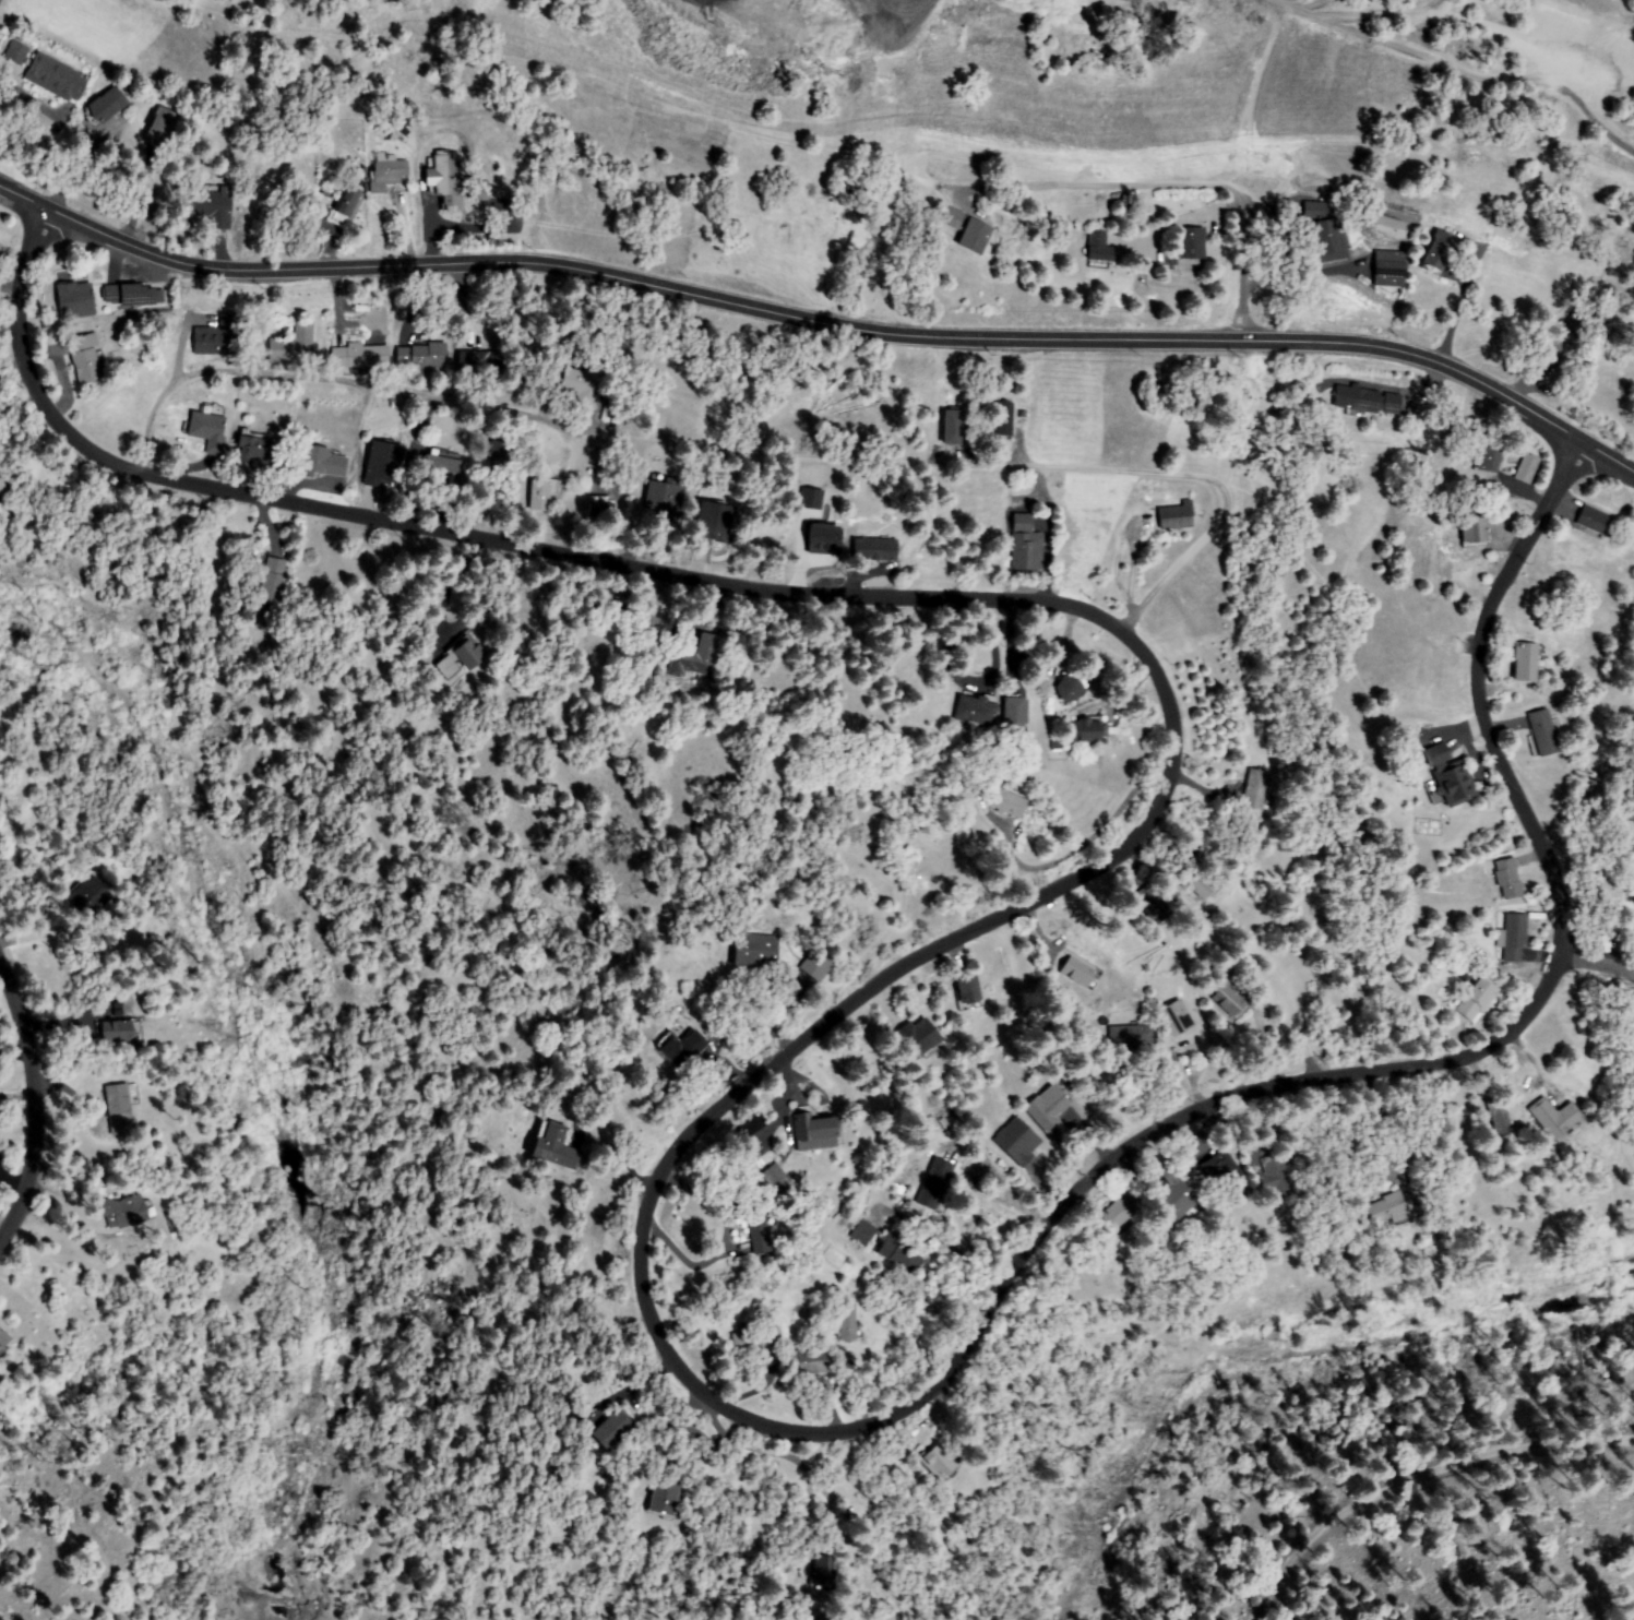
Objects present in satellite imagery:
road: (1279, 4)
road: (1292, 4)
building: (17, 52)
building: (57, 78)
road: (1250, 100)
building: (106, 107)
building: (163, 128)
building: (386, 171)
building: (452, 181)
building: (348, 201)
building: (214, 207)
building: (1313, 209)
building: (952, 217)
building: (974, 236)
building: (1323, 240)
building: (1190, 243)
building: (1099, 247)
building: (1439, 253)
building: (1387, 267)
building: (131, 295)
building: (76, 300)
road: (821, 324)
building: (1578, 324)
building: (218, 336)
building: (295, 345)
building: (357, 356)
building: (419, 356)
building: (85, 360)
building: (481, 362)
building: (583, 385)
building: (1367, 400)
building: (1023, 414)
building: (1005, 417)
building: (954, 427)
building: (208, 430)
building: (261, 451)
building: (500, 452)
building: (1490, 454)
building: (324, 462)
building: (384, 463)
building: (1526, 467)
building: (1512, 468)
building: (443, 470)
building: (5, 484)
building: (541, 495)
building: (664, 500)
building: (600, 508)
building: (1176, 517)
building: (1593, 519)
building: (1022, 523)
building: (713, 524)
building: (1474, 531)
building: (824, 540)
building: (874, 549)
building: (1027, 552)
building: (271, 585)
building: (641, 621)
building: (461, 657)
building: (695, 657)
building: (1527, 662)
building: (1070, 687)
building: (977, 708)
building: (1015, 714)
building: (1086, 730)
building: (1543, 734)
building: (1430, 755)
building: (1451, 777)
building: (1255, 790)
building: (1005, 801)
building: (1202, 856)
building: (1507, 879)
building: (1202, 885)
building: (92, 896)
building: (1153, 905)
building: (1608, 921)
building: (1515, 939)
building: (759, 952)
road: (1598, 964)
building: (819, 966)
building: (1077, 972)
building: (1222, 973)
building: (968, 993)
building: (1477, 999)
building: (1230, 1000)
building: (1219, 1001)
building: (1464, 1001)
building: (1176, 1020)
building: (121, 1032)
building: (1633, 1032)
building: (1130, 1037)
building: (919, 1039)
building: (682, 1048)
road: (766, 1072)
road: (37, 1101)
building: (120, 1108)
building: (1050, 1111)
building: (1498, 1112)
building: (1554, 1119)
building: (818, 1132)
building: (1018, 1140)
building: (556, 1147)
building: (1268, 1170)
building: (1224, 1174)
building: (777, 1180)
building: (935, 1183)
building: (1178, 1199)
building: (1385, 1210)
building: (127, 1211)
building: (1119, 1214)
building: (752, 1219)
building: (862, 1231)
building: (898, 1246)
building: (848, 1321)
building: (3, 1339)
building: (755, 1342)
building: (810, 1362)
building: (612, 1428)
building: (940, 1458)
road: (1417, 1480)
building: (665, 1499)
building: (823, 1571)

